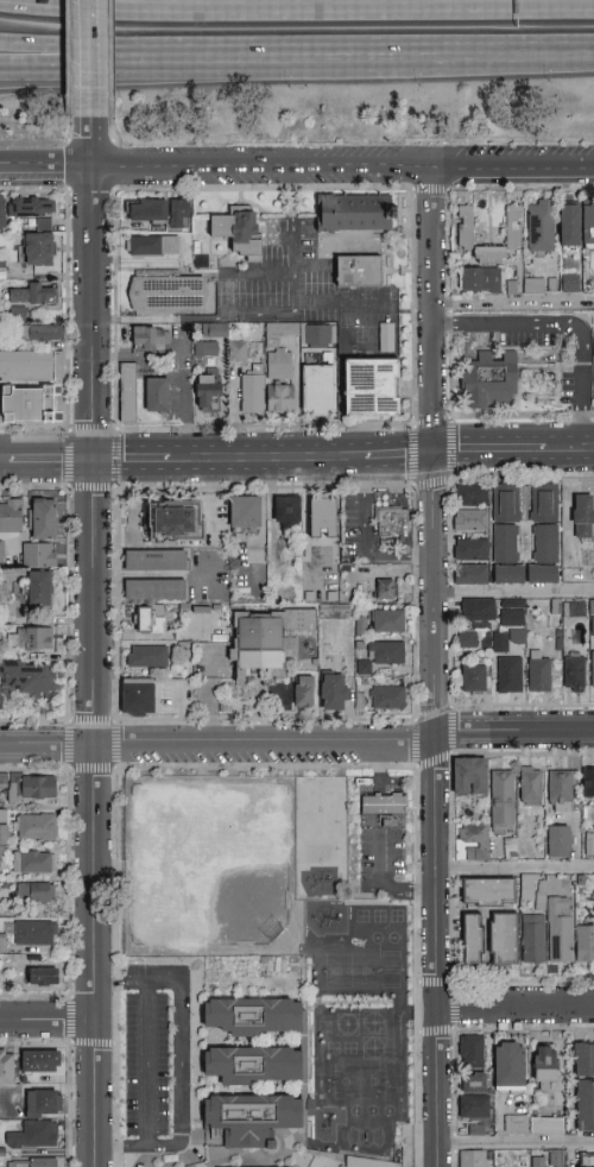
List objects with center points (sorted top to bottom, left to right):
road: (296, 8)
road: (107, 57)
road: (486, 59)
road: (297, 63)
road: (107, 65)
road: (94, 67)
road: (19, 163)
road: (316, 163)
road: (19, 166)
building: (32, 208)
building: (162, 212)
building: (2, 213)
building: (358, 213)
building: (39, 222)
building: (562, 223)
building: (583, 223)
building: (513, 227)
building: (541, 227)
building: (239, 232)
road: (291, 236)
road: (434, 241)
building: (153, 246)
building: (39, 251)
building: (359, 271)
building: (480, 280)
building: (567, 280)
building: (533, 285)
building: (34, 294)
building: (169, 296)
road: (514, 301)
building: (14, 311)
road: (567, 322)
building: (593, 326)
building: (215, 330)
building: (42, 333)
building: (387, 338)
building: (150, 339)
building: (206, 349)
building: (238, 353)
building: (279, 365)
building: (590, 366)
building: (31, 367)
building: (489, 381)
building: (373, 387)
road: (435, 389)
building: (252, 391)
building: (320, 391)
building: (128, 392)
building: (208, 393)
building: (157, 396)
building: (280, 398)
building: (27, 405)
road: (550, 450)
road: (472, 453)
traffic signals: (436, 455)
road: (400, 458)
road: (272, 460)
road: (48, 462)
road: (137, 462)
traffic signals: (95, 463)
building: (470, 496)
building: (245, 515)
building: (286, 515)
building: (11, 516)
building: (583, 517)
building: (323, 518)
building: (45, 519)
building: (470, 521)
building: (544, 522)
building: (176, 523)
building: (392, 523)
building: (505, 523)
road: (361, 545)
building: (470, 549)
building: (1, 554)
building: (10, 555)
building: (40, 555)
building: (157, 560)
building: (472, 574)
road: (152, 575)
building: (508, 575)
building: (542, 575)
building: (386, 588)
building: (37, 589)
building: (156, 591)
road: (514, 591)
building: (574, 610)
building: (478, 611)
building: (335, 612)
building: (512, 613)
building: (152, 620)
building: (386, 620)
building: (593, 626)
building: (31, 639)
building: (504, 639)
building: (467, 641)
building: (266, 642)
road: (94, 650)
building: (386, 652)
building: (147, 657)
building: (538, 671)
building: (574, 671)
building: (593, 671)
building: (508, 675)
building: (27, 679)
building: (473, 680)
building: (304, 692)
building: (334, 692)
building: (138, 698)
building: (388, 698)
road: (297, 740)
building: (470, 776)
building: (4, 782)
building: (588, 783)
building: (530, 786)
building: (33, 788)
building: (560, 791)
building: (501, 800)
building: (384, 806)
road: (436, 810)
building: (590, 810)
building: (4, 816)
building: (37, 827)
building: (4, 835)
road: (379, 840)
building: (558, 841)
building: (587, 843)
building: (475, 844)
building: (34, 862)
park: (207, 864)
road: (516, 870)
building: (529, 885)
building: (36, 892)
building: (487, 892)
building: (561, 929)
building: (34, 934)
building: (504, 939)
building: (533, 939)
building: (472, 940)
building: (0, 944)
building: (586, 944)
building: (45, 977)
road: (514, 1008)
building: (254, 1016)
road: (48, 1021)
building: (472, 1052)
building: (583, 1060)
building: (42, 1061)
road: (146, 1065)
building: (254, 1065)
building: (508, 1065)
road: (179, 1066)
building: (6, 1067)
building: (545, 1067)
building: (473, 1083)
building: (44, 1104)
building: (584, 1105)
building: (474, 1108)
building: (251, 1119)
building: (533, 1124)
building: (472, 1129)
building: (34, 1136)
road: (516, 1144)
building: (472, 1159)
building: (556, 1159)
building: (36, 1162)
building: (373, 1162)
building: (537, 1162)

